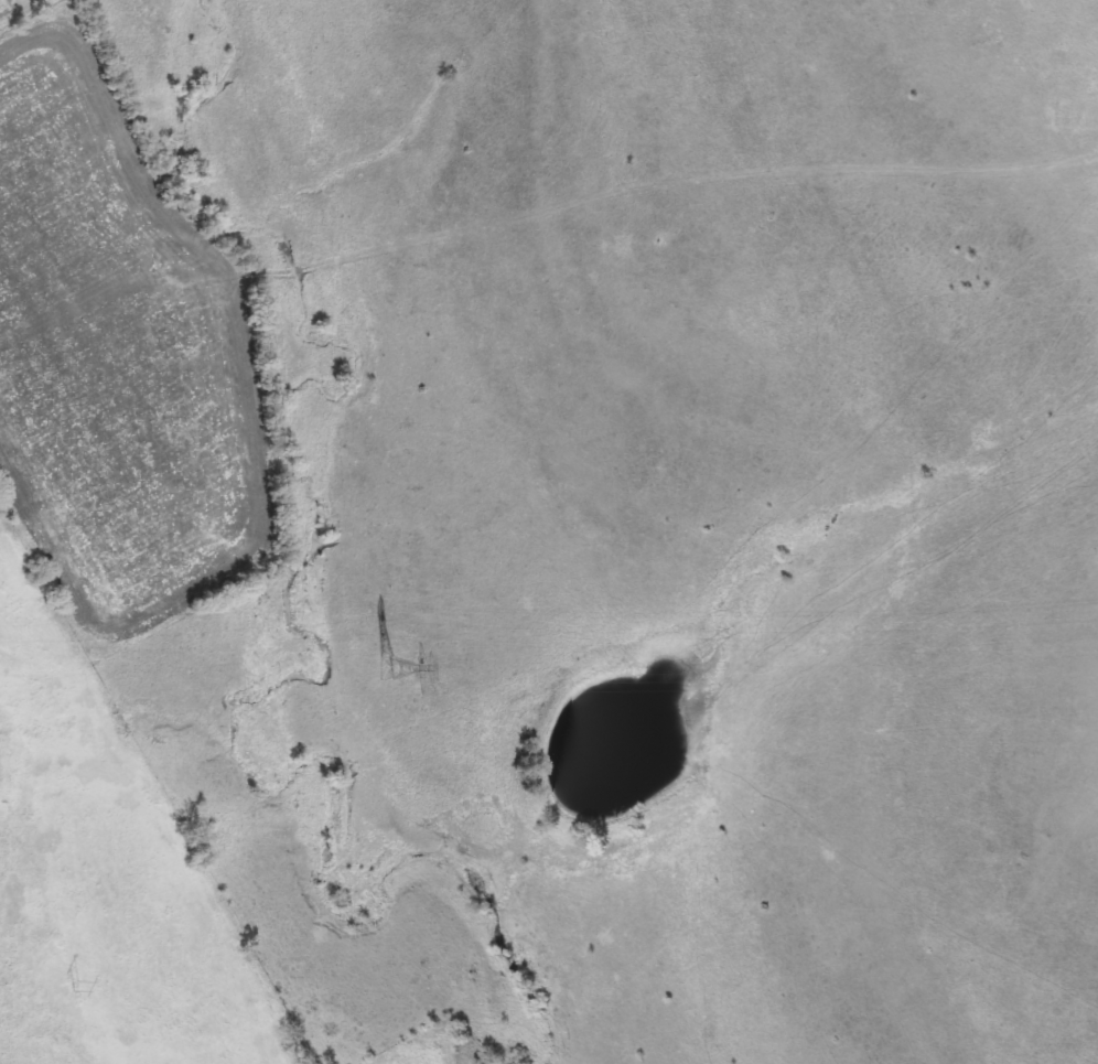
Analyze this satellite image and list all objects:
power tower: (385, 666)

